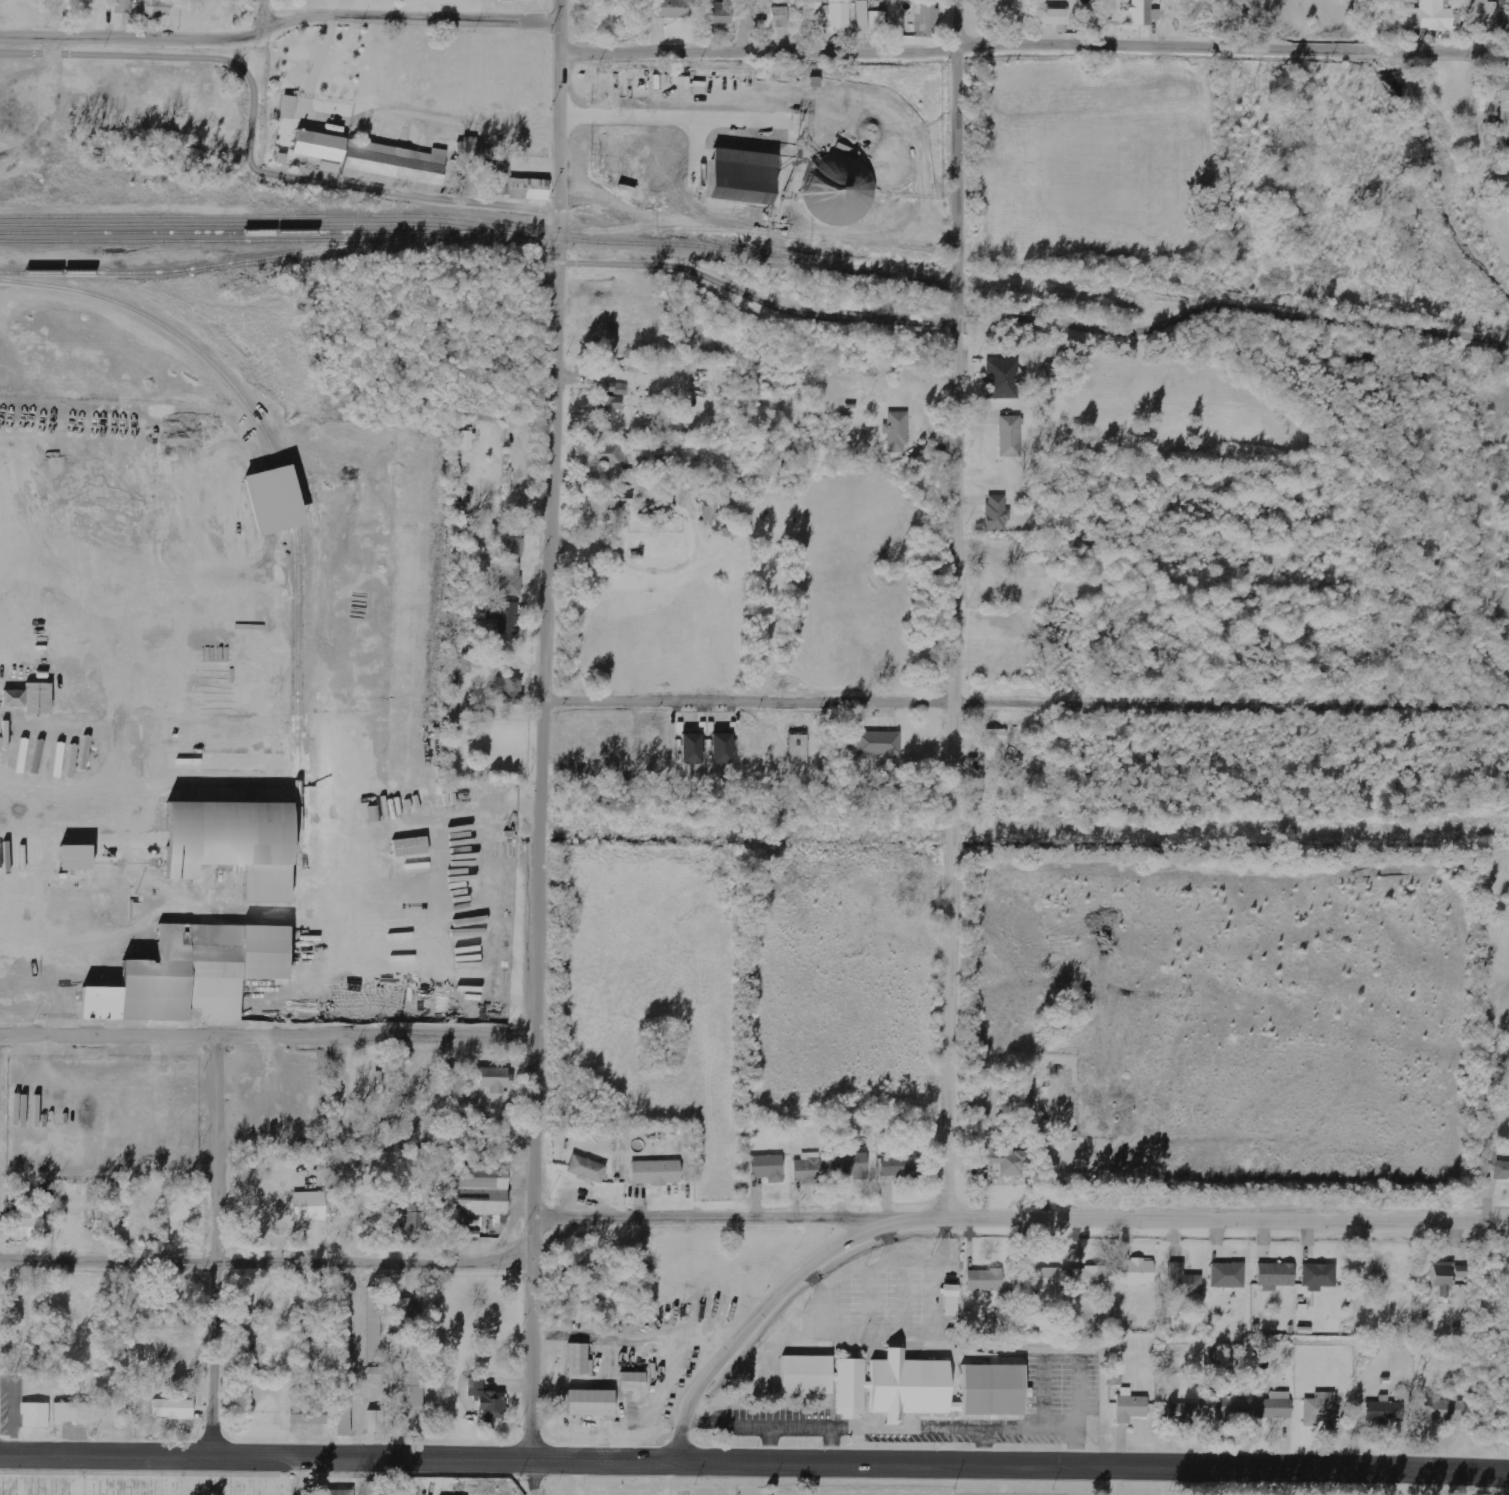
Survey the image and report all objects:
building: (513, 0)
building: (1410, 0)
building: (779, 1)
building: (123, 6)
building: (157, 8)
building: (670, 9)
building: (986, 10)
building: (722, 12)
building: (1143, 13)
road: (262, 14)
building: (840, 14)
building: (924, 15)
building: (862, 16)
building: (896, 16)
building: (1428, 16)
building: (780, 17)
building: (1054, 17)
building: (1503, 18)
building: (876, 21)
road: (278, 24)
road: (1473, 27)
road: (742, 28)
road: (1034, 52)
building: (611, 91)
building: (1504, 103)
building: (288, 107)
building: (319, 146)
building: (395, 166)
building: (330, 167)
building: (529, 189)
building: (839, 190)
railway: (469, 219)
railway: (254, 224)
railway: (223, 231)
railway: (475, 231)
railway: (738, 247)
railway: (198, 266)
road: (691, 271)
railway: (1051, 287)
building: (1002, 379)
building: (610, 402)
building: (897, 432)
building: (1010, 436)
building: (466, 440)
building: (609, 454)
railway: (281, 480)
building: (274, 500)
building: (608, 506)
building: (997, 513)
building: (510, 538)
building: (510, 578)
road: (955, 605)
building: (503, 616)
building: (465, 664)
building: (509, 690)
road: (1026, 691)
building: (30, 699)
building: (879, 743)
building: (995, 746)
road: (545, 747)
building: (722, 748)
building: (692, 749)
building: (798, 749)
building: (232, 844)
building: (75, 857)
building: (193, 974)
road: (271, 1032)
building: (495, 1080)
building: (1029, 1080)
building: (1003, 1161)
building: (852, 1165)
building: (900, 1167)
building: (1497, 1167)
building: (768, 1168)
building: (587, 1169)
building: (810, 1169)
building: (656, 1172)
building: (476, 1192)
building: (309, 1206)
road: (1024, 1211)
building: (415, 1218)
building: (28, 1224)
road: (222, 1246)
road: (265, 1257)
building: (584, 1264)
building: (1138, 1273)
building: (1447, 1273)
building: (1228, 1275)
building: (1276, 1276)
building: (1319, 1276)
building: (1041, 1278)
building: (1092, 1278)
building: (985, 1280)
building: (1183, 1282)
building: (951, 1300)
building: (405, 1307)
road: (758, 1313)
building: (374, 1325)
building: (579, 1360)
building: (344, 1362)
building: (633, 1382)
building: (906, 1386)
building: (416, 1387)
building: (487, 1403)
building: (591, 1403)
building: (1130, 1406)
building: (1274, 1406)
building: (173, 1408)
building: (1232, 1408)
building: (1319, 1408)
building: (1444, 1410)
building: (1385, 1411)
building: (74, 1412)
building: (308, 1413)
building: (1185, 1413)
building: (35, 1415)
building: (375, 1422)
road: (267, 1458)
road: (1022, 1467)
road: (296, 1477)
park: (142, 1485)
building: (376, 1488)
building: (339, 1492)

